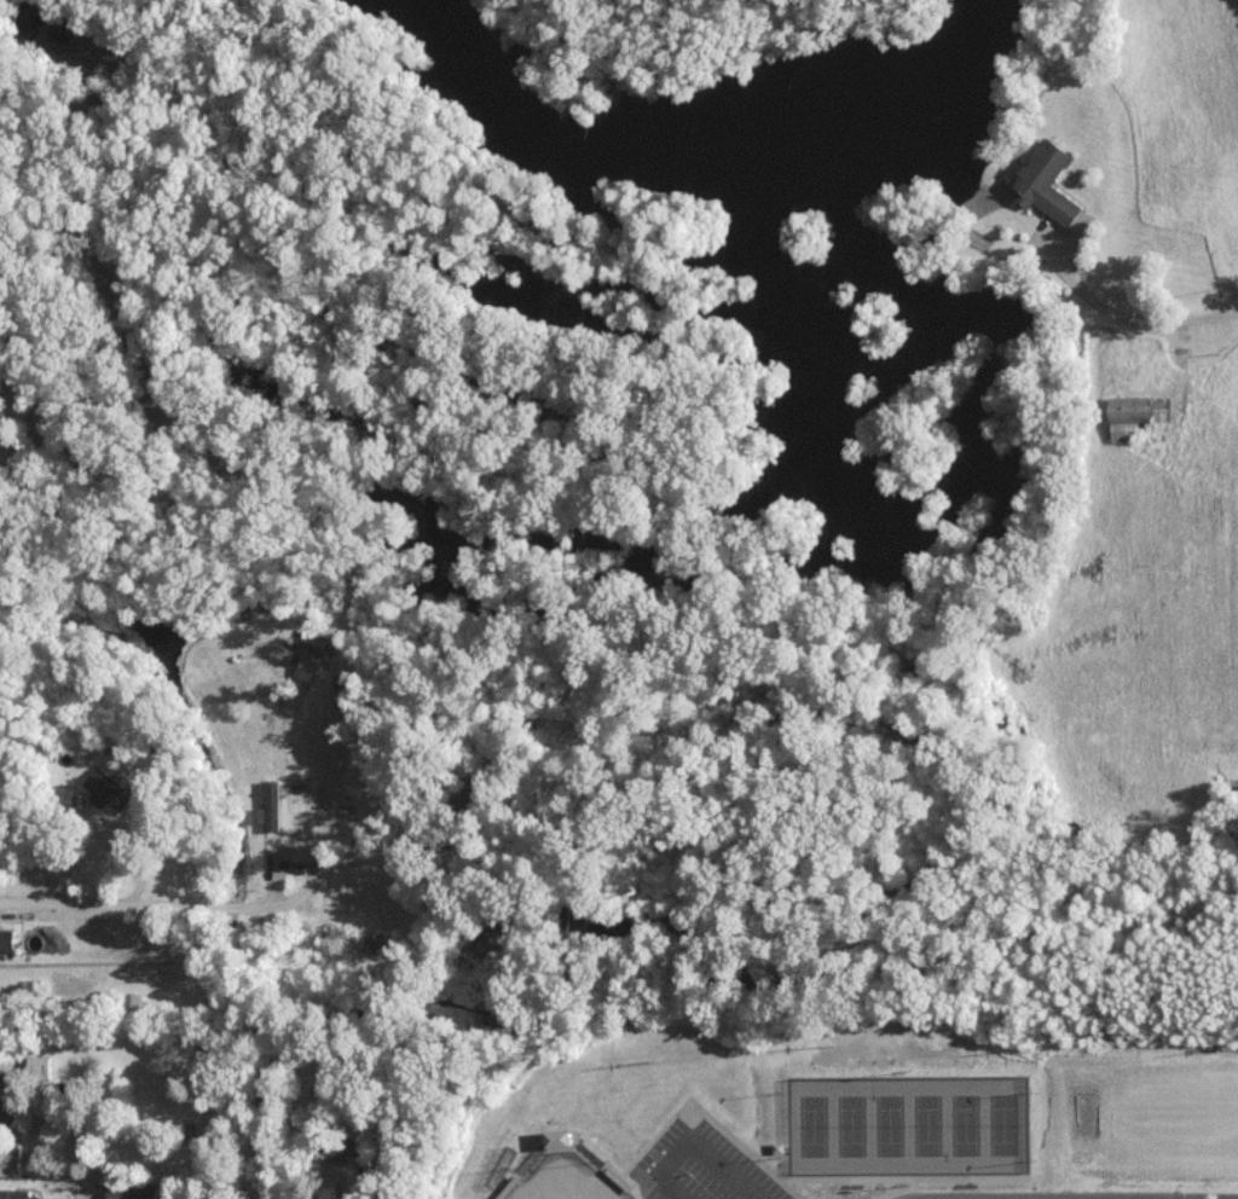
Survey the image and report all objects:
building: (1047, 183)
road: (1133, 319)
building: (1132, 415)
building: (300, 661)
building: (109, 790)
building: (271, 806)
road: (181, 908)
building: (7, 940)
building: (40, 1067)
building: (5, 1088)
park: (910, 1124)
building: (561, 1139)
building: (11, 1160)
park: (568, 1177)
building: (133, 1192)
building: (17, 1194)

